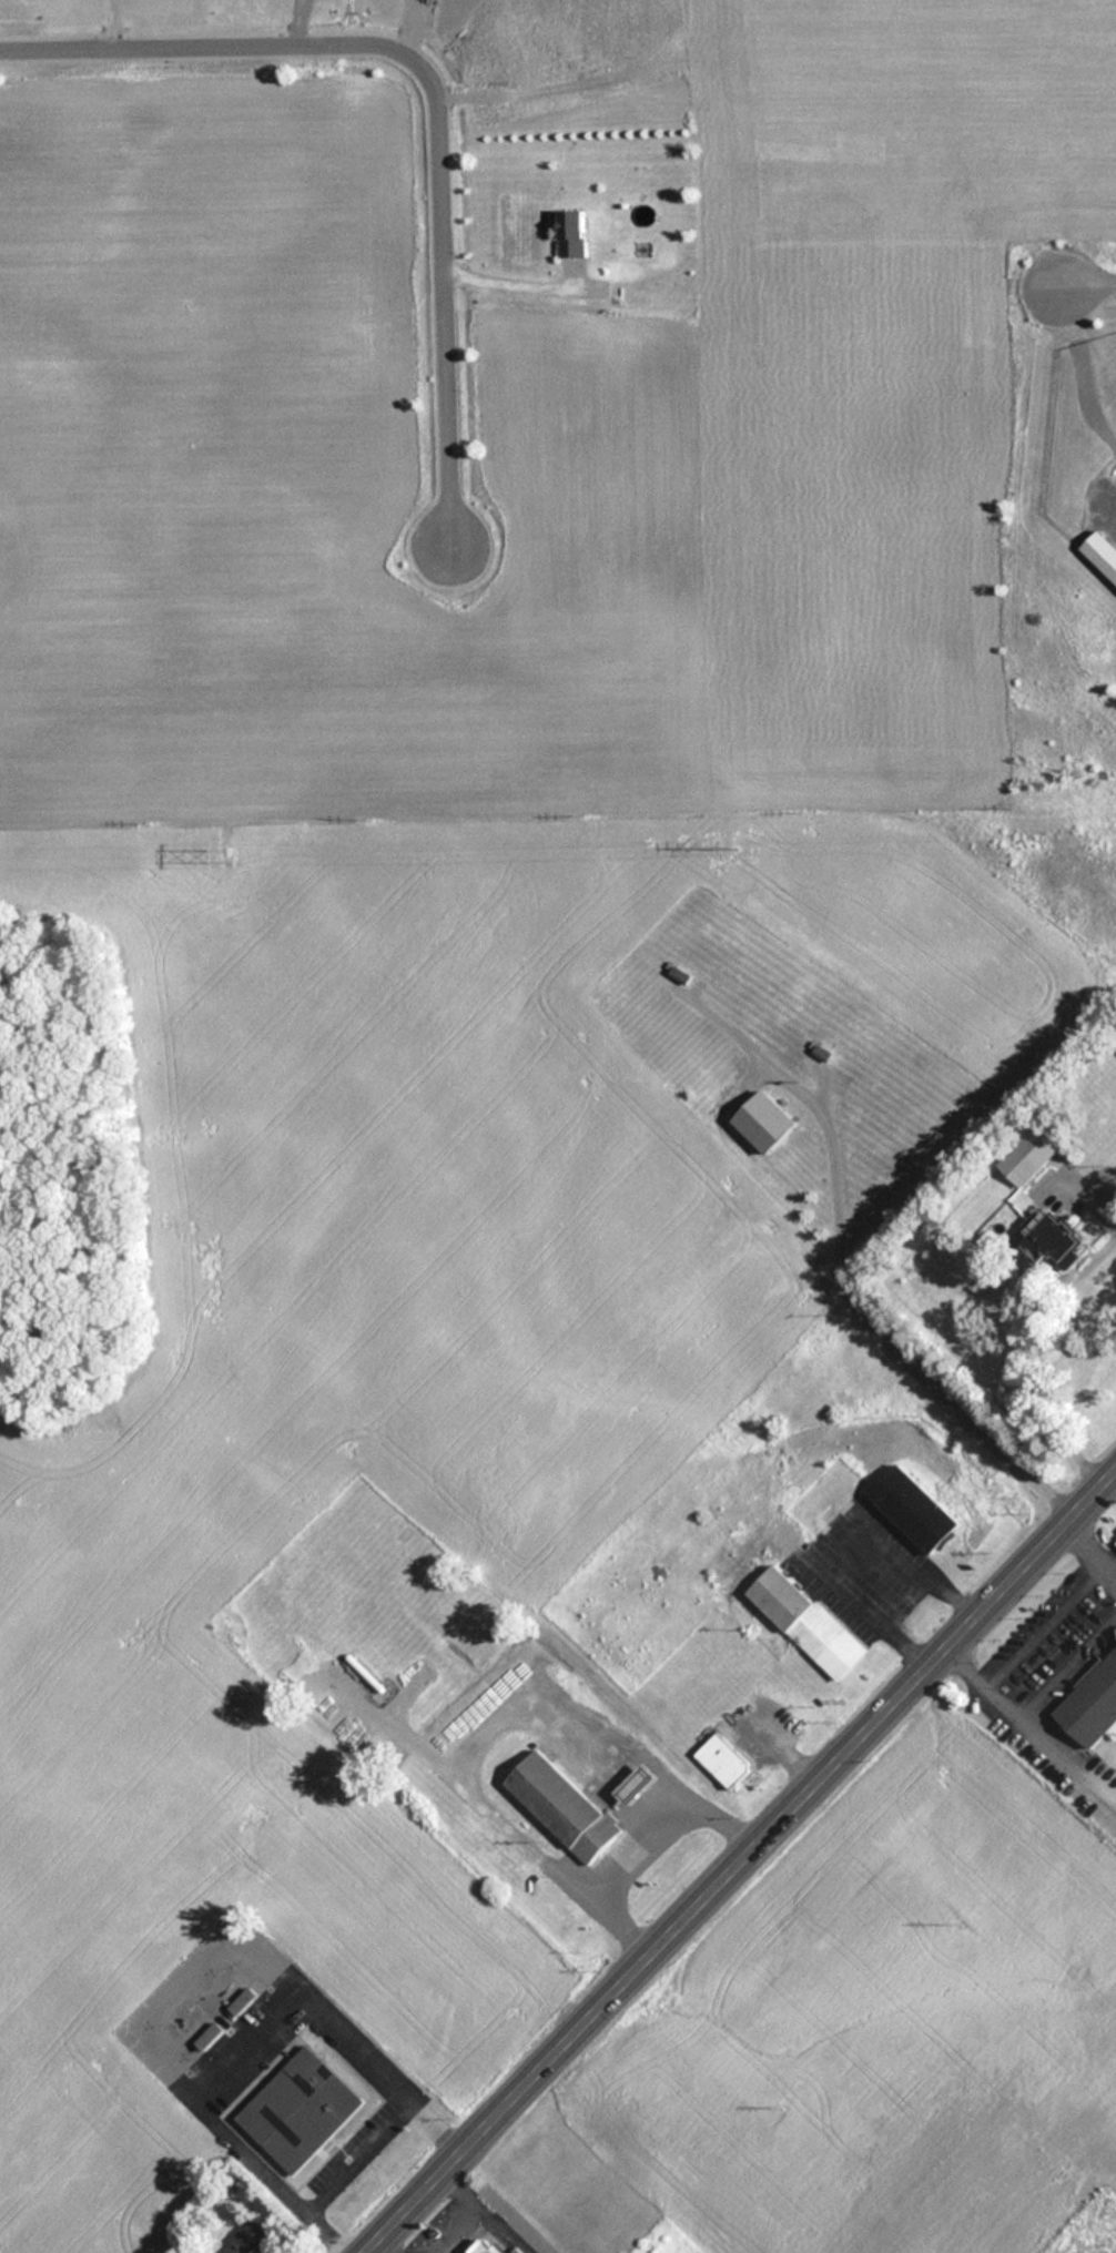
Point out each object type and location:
road: (104, 21)
road: (427, 87)
building: (571, 234)
road: (515, 281)
road: (1086, 284)
building: (1100, 554)
power tower: (731, 851)
power tower: (230, 856)
building: (679, 974)
building: (763, 1122)
building: (1027, 1154)
building: (1061, 1238)
road: (866, 1323)
building: (822, 1496)
building: (912, 1509)
building: (804, 1622)
building: (1092, 1703)
building: (722, 1760)
building: (562, 1807)
road: (735, 1860)
building: (242, 2001)
building: (207, 2037)
building: (300, 2110)
building: (487, 2247)

